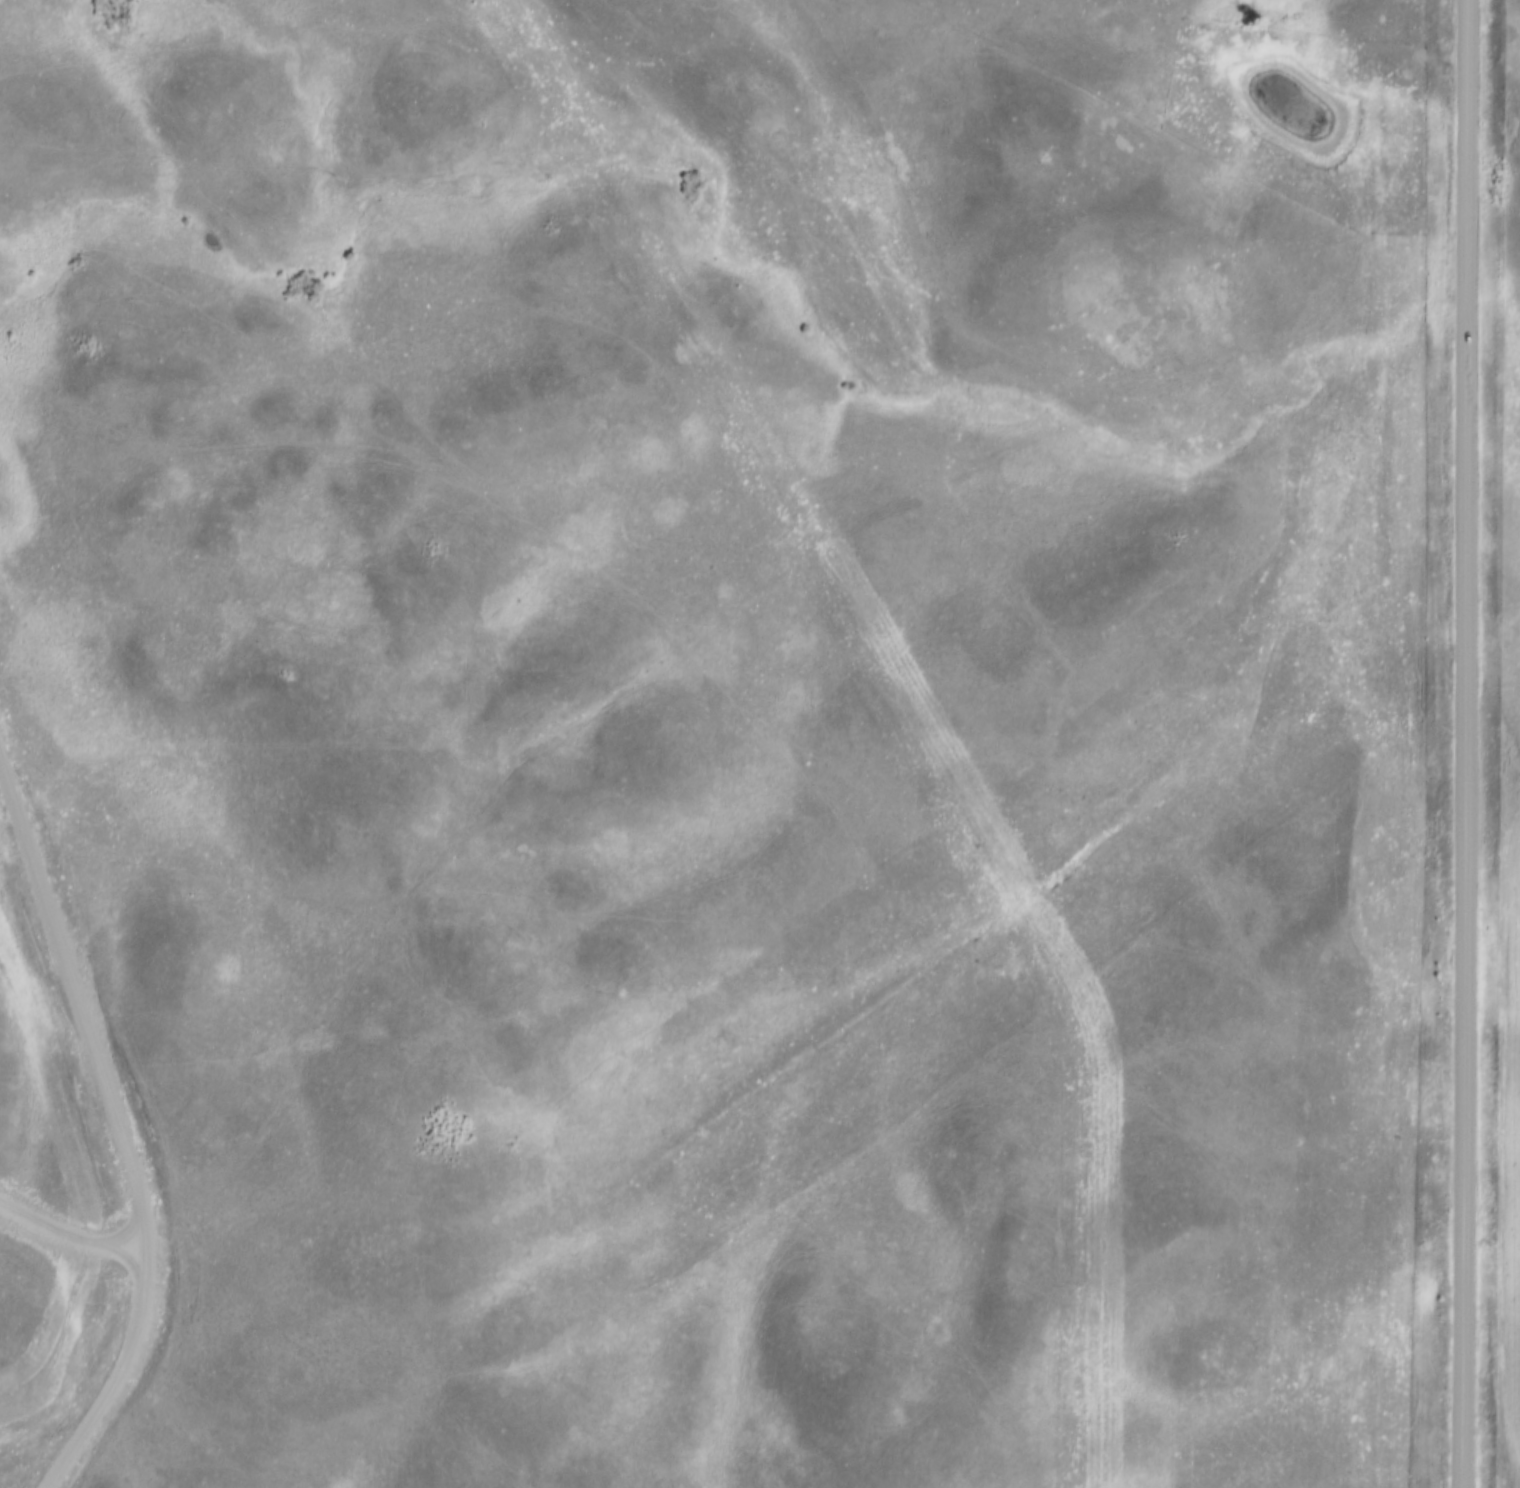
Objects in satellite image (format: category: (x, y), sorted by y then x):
road: (1467, 743)
road: (119, 1124)

